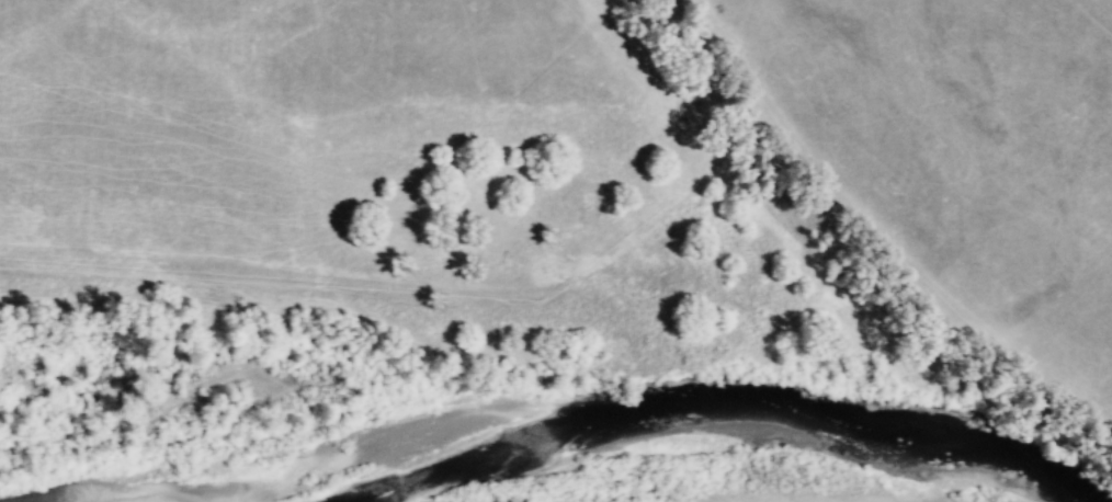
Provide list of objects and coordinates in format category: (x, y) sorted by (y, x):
river: (627, 410)

